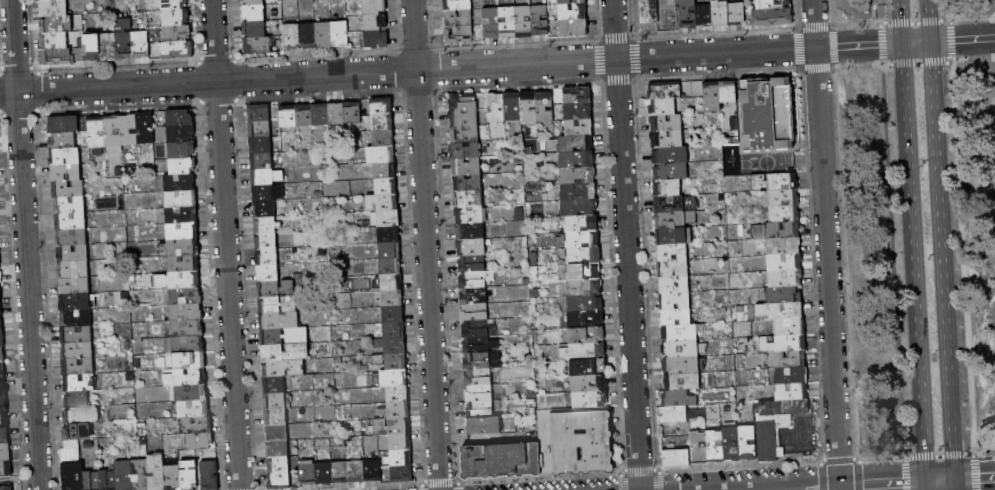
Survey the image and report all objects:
building: (50, 0)
building: (253, 2)
building: (571, 2)
building: (772, 4)
building: (173, 5)
building: (457, 5)
building: (374, 6)
building: (54, 8)
road: (949, 9)
building: (649, 11)
road: (878, 11)
building: (253, 13)
building: (568, 13)
building: (687, 14)
building: (720, 14)
building: (736, 14)
building: (668, 15)
building: (704, 16)
building: (772, 17)
building: (175, 18)
building: (458, 19)
road: (929, 20)
building: (524, 21)
building: (540, 21)
road: (900, 21)
building: (375, 22)
building: (508, 23)
building: (56, 24)
building: (492, 24)
building: (569, 28)
building: (254, 29)
building: (177, 34)
building: (324, 35)
building: (340, 35)
building: (459, 35)
building: (308, 36)
building: (292, 37)
building: (124, 39)
road: (962, 39)
building: (54, 40)
building: (376, 40)
traffic signals: (930, 41)
road: (915, 42)
road: (890, 43)
traffic signals: (901, 43)
building: (140, 45)
building: (257, 46)
road: (848, 46)
building: (109, 47)
building: (93, 48)
building: (178, 50)
building: (56, 57)
road: (951, 60)
road: (407, 70)
building: (664, 91)
building: (728, 92)
building: (577, 96)
building: (712, 97)
building: (463, 102)
building: (382, 106)
building: (512, 107)
building: (544, 107)
building: (663, 107)
building: (496, 108)
building: (528, 108)
building: (578, 112)
building: (260, 113)
building: (353, 113)
building: (336, 114)
building: (764, 114)
building: (320, 115)
building: (305, 116)
building: (289, 117)
building: (179, 118)
building: (464, 118)
building: (383, 122)
building: (63, 124)
building: (665, 124)
building: (145, 128)
building: (579, 128)
building: (260, 129)
building: (113, 131)
building: (180, 134)
building: (465, 134)
building: (384, 139)
building: (667, 140)
building: (62, 141)
building: (575, 143)
building: (261, 145)
building: (182, 150)
building: (466, 151)
building: (381, 155)
building: (671, 155)
building: (65, 158)
building: (576, 159)
building: (261, 161)
building: (183, 166)
building: (467, 167)
building: (385, 170)
building: (671, 171)
building: (66, 174)
building: (577, 176)
building: (266, 177)
building: (774, 182)
building: (179, 183)
building: (467, 183)
building: (386, 186)
building: (667, 188)
building: (68, 189)
building: (268, 192)
building: (579, 192)
building: (783, 198)
building: (181, 199)
building: (468, 199)
building: (382, 203)
building: (675, 204)
building: (70, 205)
building: (579, 207)
building: (265, 209)
building: (784, 213)
building: (181, 215)
building: (469, 215)
building: (388, 219)
building: (675, 220)
building: (71, 221)
building: (581, 224)
building: (267, 225)
building: (777, 230)
building: (182, 231)
building: (470, 231)
building: (388, 234)
building: (671, 236)
building: (71, 237)
park: (910, 238)
building: (583, 239)
building: (266, 241)
road: (25, 244)
road: (225, 244)
road: (826, 244)
road: (425, 245)
road: (626, 245)
building: (780, 246)
building: (180, 247)
building: (471, 247)
building: (390, 250)
building: (672, 253)
building: (73, 254)
building: (584, 256)
road: (962, 256)
building: (267, 257)
building: (0, 260)
road: (892, 260)
road: (942, 260)
building: (784, 262)
road: (913, 263)
building: (184, 264)
building: (472, 265)
building: (391, 266)
building: (673, 269)
building: (73, 271)
building: (585, 272)
building: (268, 273)
building: (0, 277)
building: (785, 279)
building: (184, 280)
building: (476, 280)
building: (391, 282)
building: (674, 285)
building: (74, 287)
building: (585, 287)
building: (276, 289)
building: (0, 295)
building: (783, 295)
building: (185, 296)
building: (474, 297)
building: (392, 298)
building: (675, 301)
building: (75, 303)
building: (584, 303)
building: (277, 305)
building: (0, 307)
building: (781, 311)
building: (475, 312)
building: (186, 313)
building: (393, 314)
building: (675, 317)
building: (75, 318)
building: (586, 319)
building: (279, 321)
building: (1, 323)
building: (790, 327)
building: (187, 329)
building: (477, 329)
building: (394, 330)
building: (679, 333)
building: (77, 335)
building: (586, 335)
building: (284, 336)
building: (2, 339)
building: (790, 344)
building: (188, 345)
building: (480, 345)
building: (395, 346)
building: (297, 349)
building: (680, 349)
building: (77, 351)
building: (584, 351)
building: (2, 356)
building: (787, 360)
building: (189, 361)
building: (391, 361)
building: (480, 361)
building: (681, 365)
building: (588, 367)
building: (78, 368)
building: (283, 368)
building: (2, 371)
building: (791, 376)
building: (185, 378)
building: (478, 378)
building: (394, 379)
building: (683, 382)
building: (589, 383)
building: (80, 384)
building: (274, 385)
building: (3, 388)
building: (792, 392)
building: (191, 393)
building: (480, 393)
building: (397, 394)
building: (590, 399)
building: (679, 399)
building: (77, 400)
building: (275, 401)
building: (3, 403)
building: (784, 408)
building: (193, 409)
building: (480, 409)
building: (395, 411)
building: (674, 415)
building: (82, 416)
building: (276, 417)
building: (3, 420)
building: (484, 425)
building: (197, 426)
building: (392, 426)
building: (77, 433)
building: (277, 433)
building: (4, 436)
building: (767, 439)
building: (575, 441)
building: (200, 442)
building: (400, 442)
building: (748, 442)
building: (732, 443)
building: (715, 446)
building: (699, 448)
building: (278, 449)
building: (5, 452)
building: (71, 452)
road: (939, 453)
building: (400, 458)
building: (676, 458)
building: (502, 461)
building: (279, 465)
building: (6, 469)
building: (372, 471)
building: (156, 472)
building: (356, 472)
building: (324, 473)
building: (340, 473)
building: (309, 474)
building: (402, 474)
building: (124, 475)
building: (140, 475)
building: (189, 475)
building: (210, 475)
building: (73, 476)
building: (173, 477)
building: (92, 480)
building: (108, 480)
road: (974, 480)
building: (279, 481)
traffic signals: (954, 481)
road: (940, 482)
traffic signals: (926, 483)
road: (882, 485)
road: (954, 485)
road: (926, 486)
building: (6, 488)
road: (816, 489)

